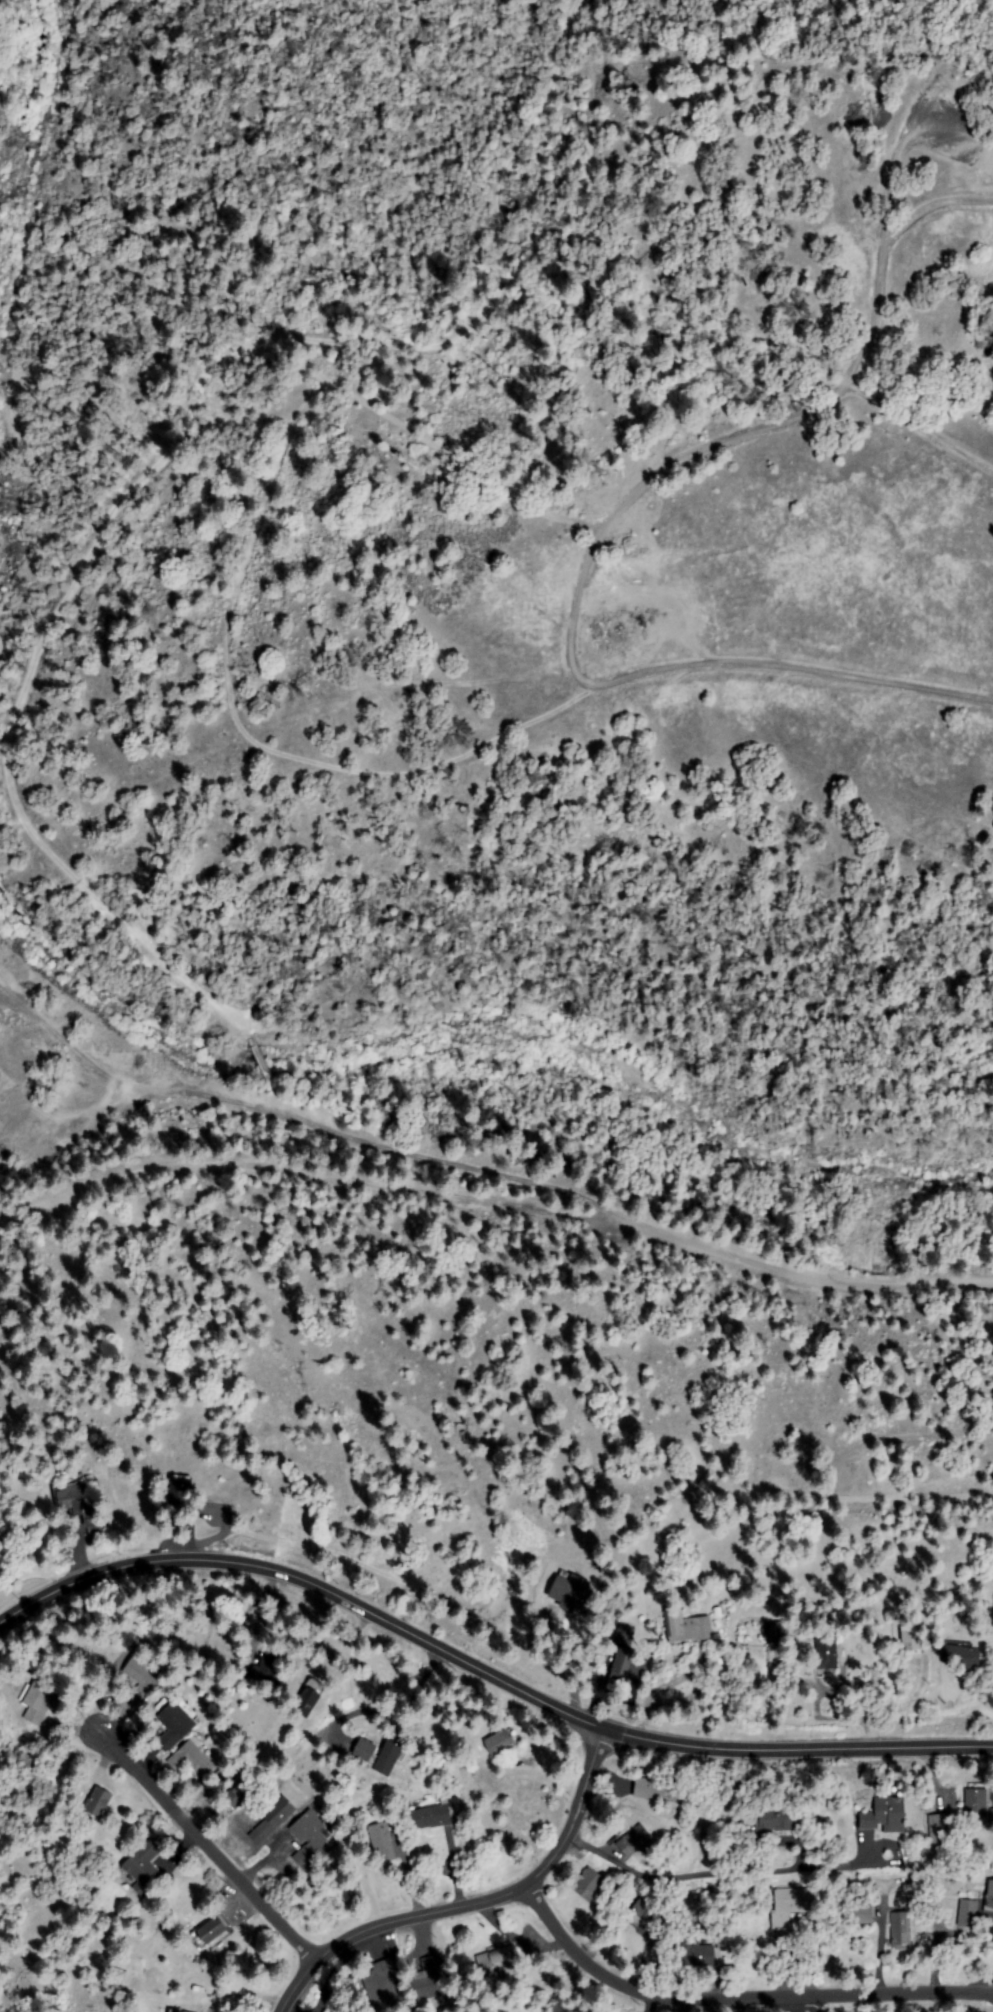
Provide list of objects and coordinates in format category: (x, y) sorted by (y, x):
road: (763, 431)
road: (176, 441)
road: (420, 771)
road: (262, 1065)
building: (3, 1089)
road: (489, 1167)
road: (495, 1198)
building: (181, 1490)
road: (835, 1493)
building: (79, 1505)
building: (572, 1592)
building: (718, 1612)
building: (688, 1629)
building: (778, 1632)
building: (624, 1635)
building: (912, 1640)
building: (827, 1653)
building: (959, 1655)
building: (626, 1665)
building: (268, 1668)
road: (484, 1672)
building: (142, 1678)
building: (309, 1698)
building: (37, 1700)
building: (175, 1724)
building: (501, 1742)
building: (365, 1750)
building: (389, 1757)
building: (190, 1759)
road: (608, 1776)
building: (658, 1788)
building: (238, 1795)
building: (977, 1803)
building: (97, 1804)
building: (886, 1815)
building: (992, 1816)
building: (431, 1817)
building: (274, 1818)
building: (776, 1821)
building: (939, 1831)
building: (309, 1838)
building: (634, 1841)
building: (382, 1844)
road: (209, 1847)
building: (142, 1870)
building: (590, 1884)
building: (990, 1896)
building: (792, 1905)
road: (431, 1912)
building: (968, 1912)
building: (648, 1913)
building: (864, 1916)
building: (901, 1929)
building: (209, 1932)
building: (694, 1954)
building: (494, 1959)
building: (427, 1981)
building: (384, 1987)
road: (739, 1998)
road: (801, 2005)
building: (173, 2011)
building: (175, 2011)

